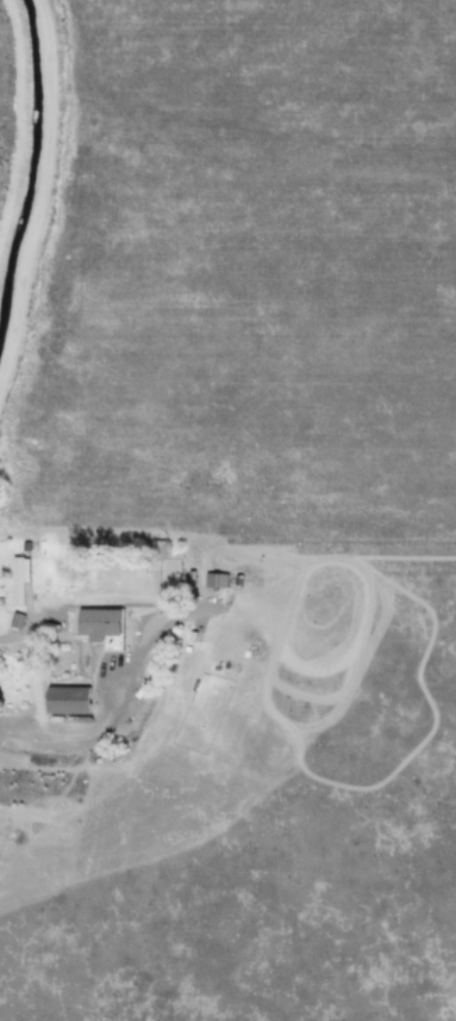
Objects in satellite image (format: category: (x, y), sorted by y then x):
building: (17, 582)
building: (96, 624)
road: (31, 632)
building: (65, 700)
road: (117, 713)

